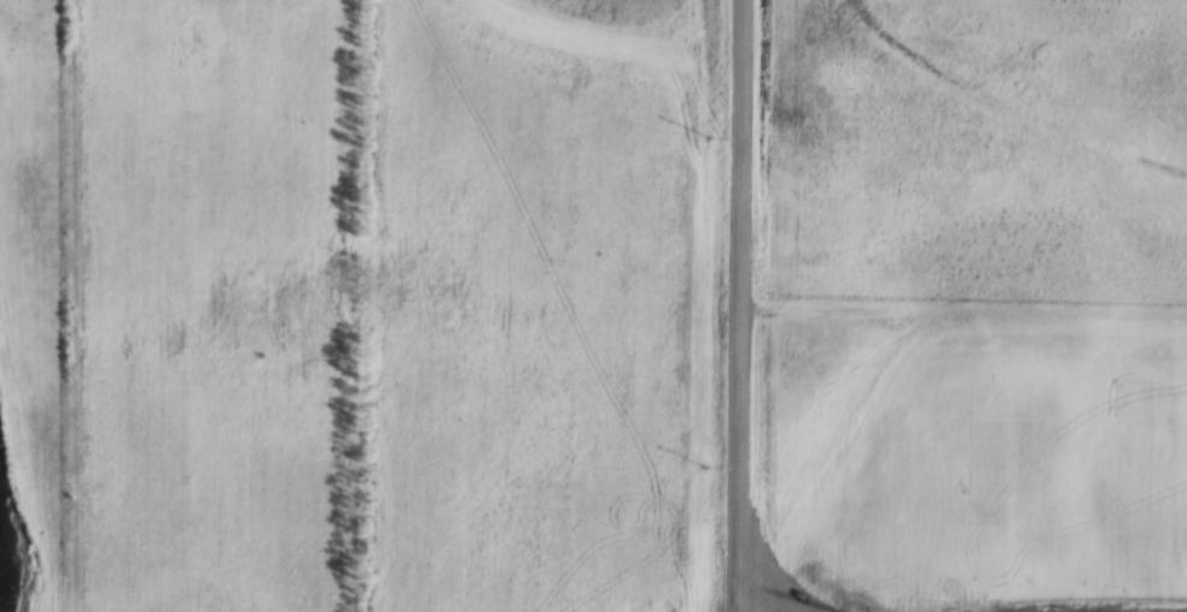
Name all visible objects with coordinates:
road: (738, 305)

